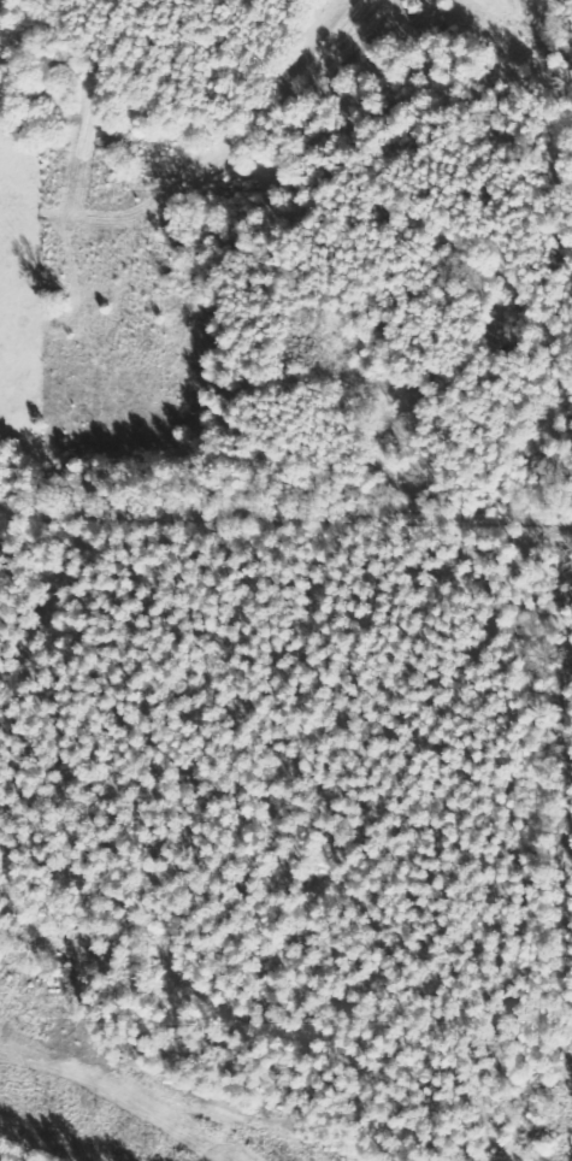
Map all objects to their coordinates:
road: (285, 512)
road: (556, 731)

